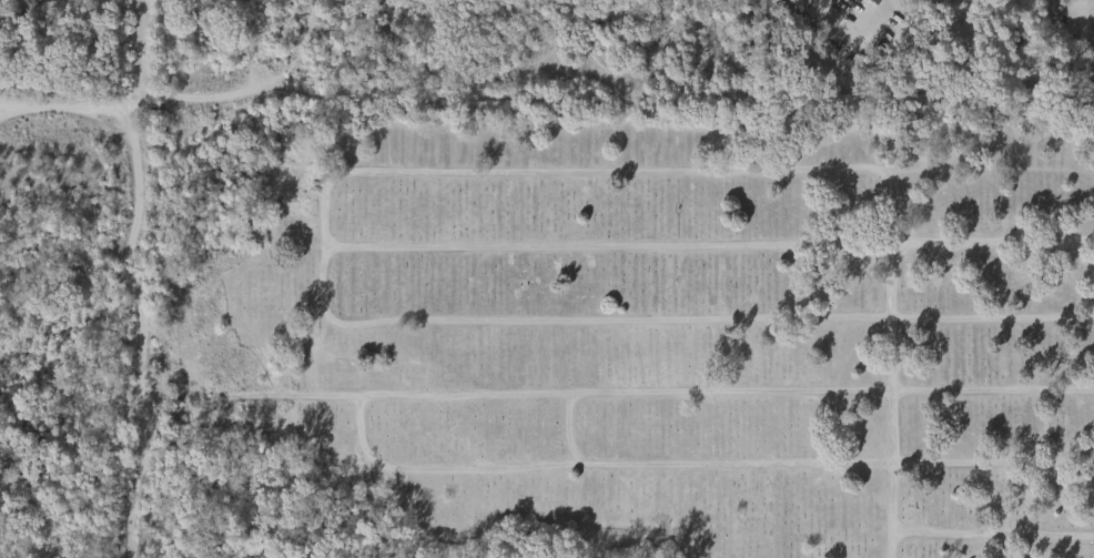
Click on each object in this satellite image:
building: (868, 4)
road: (113, 103)
road: (135, 327)
park: (629, 331)

